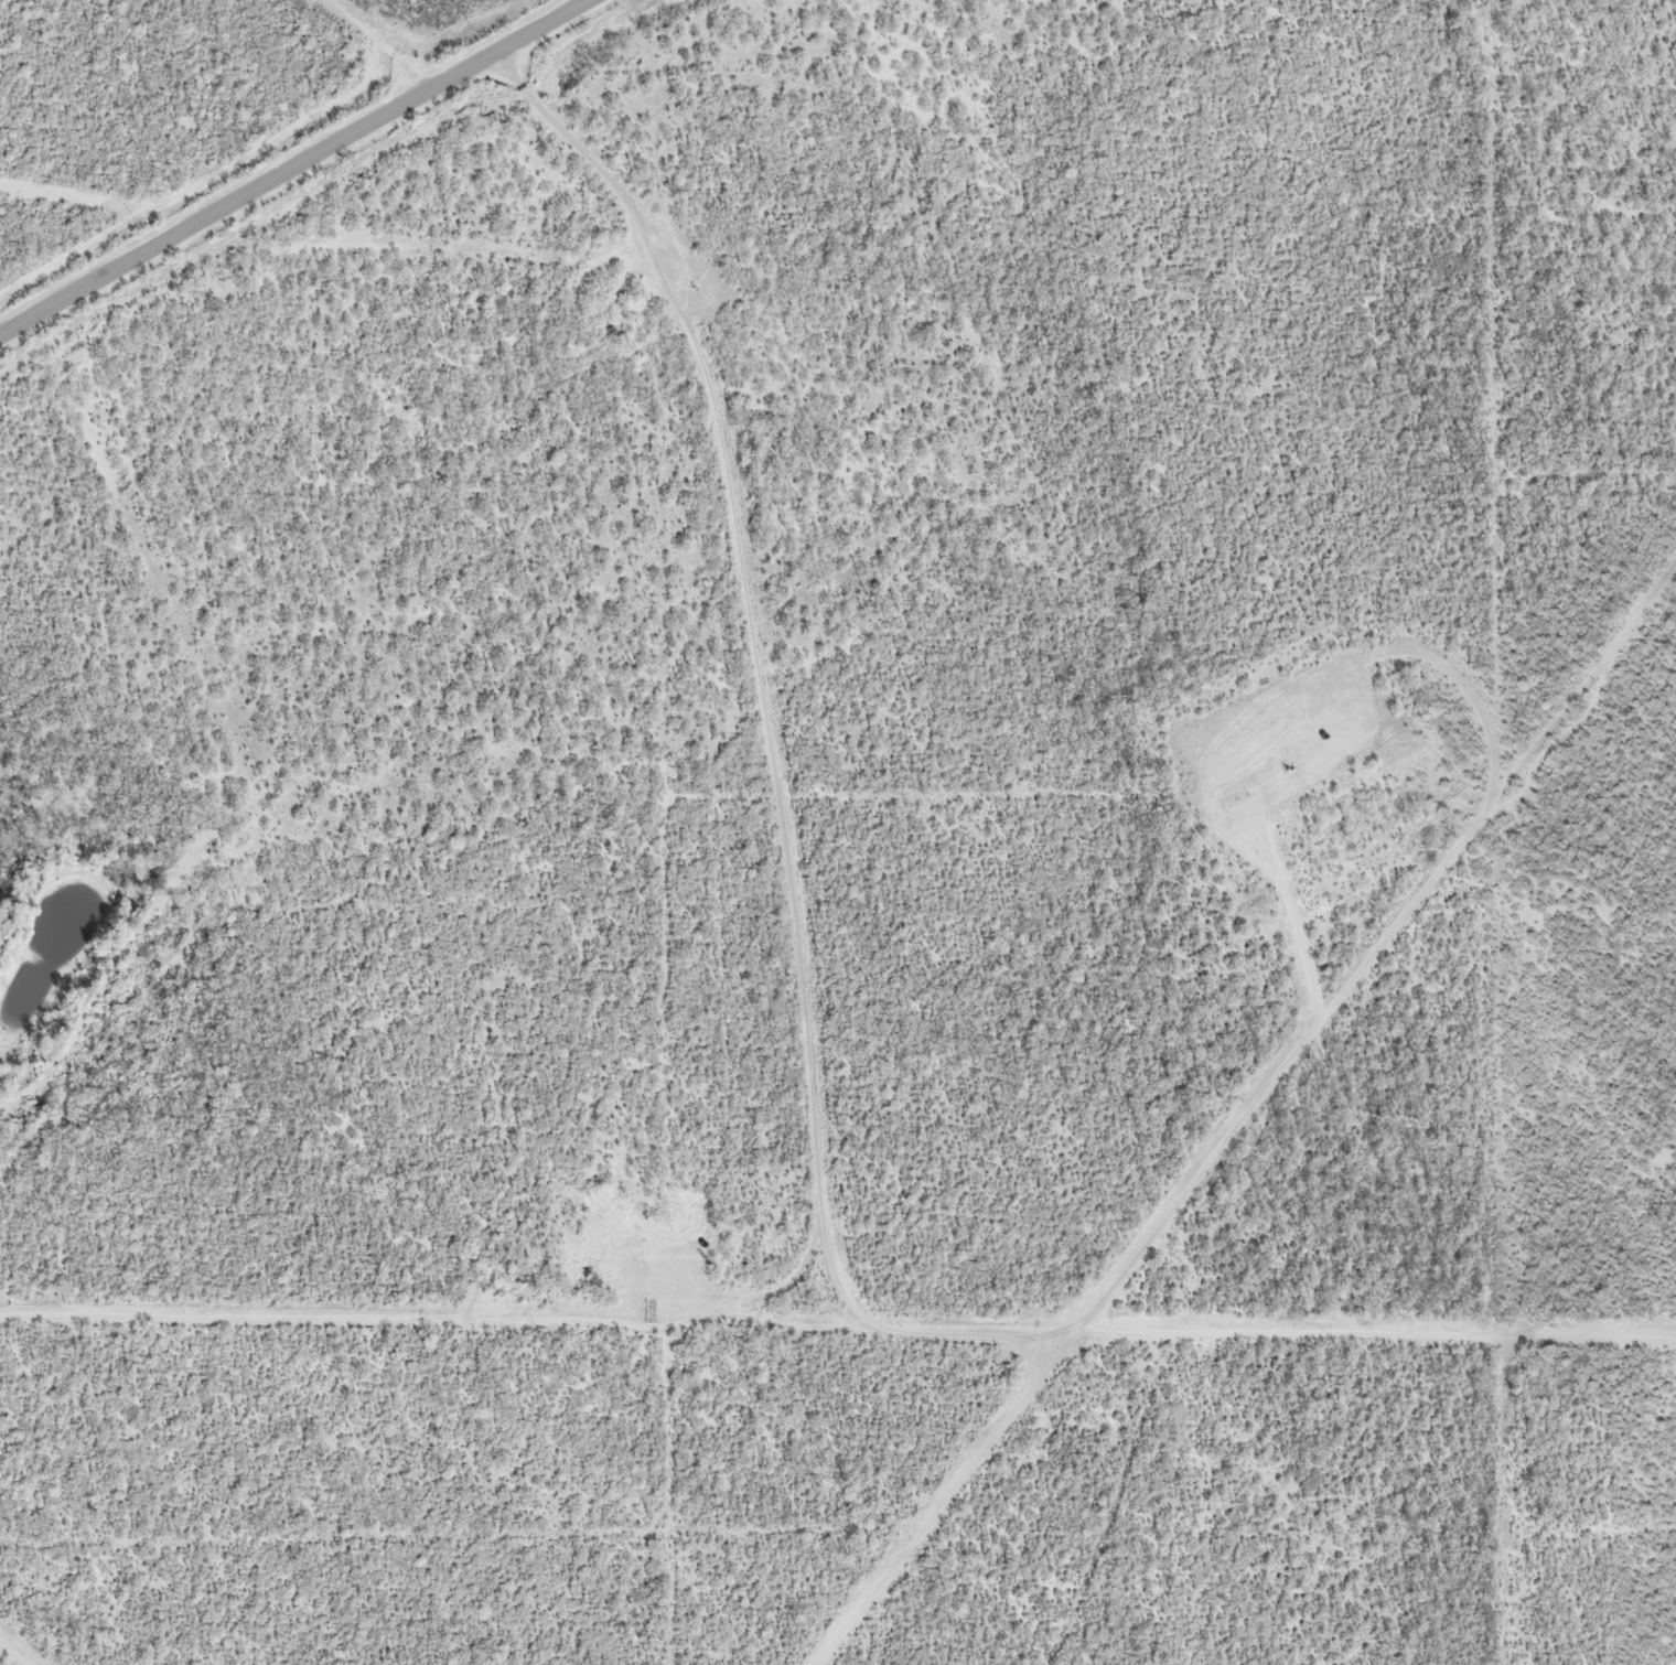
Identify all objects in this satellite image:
road: (297, 168)

